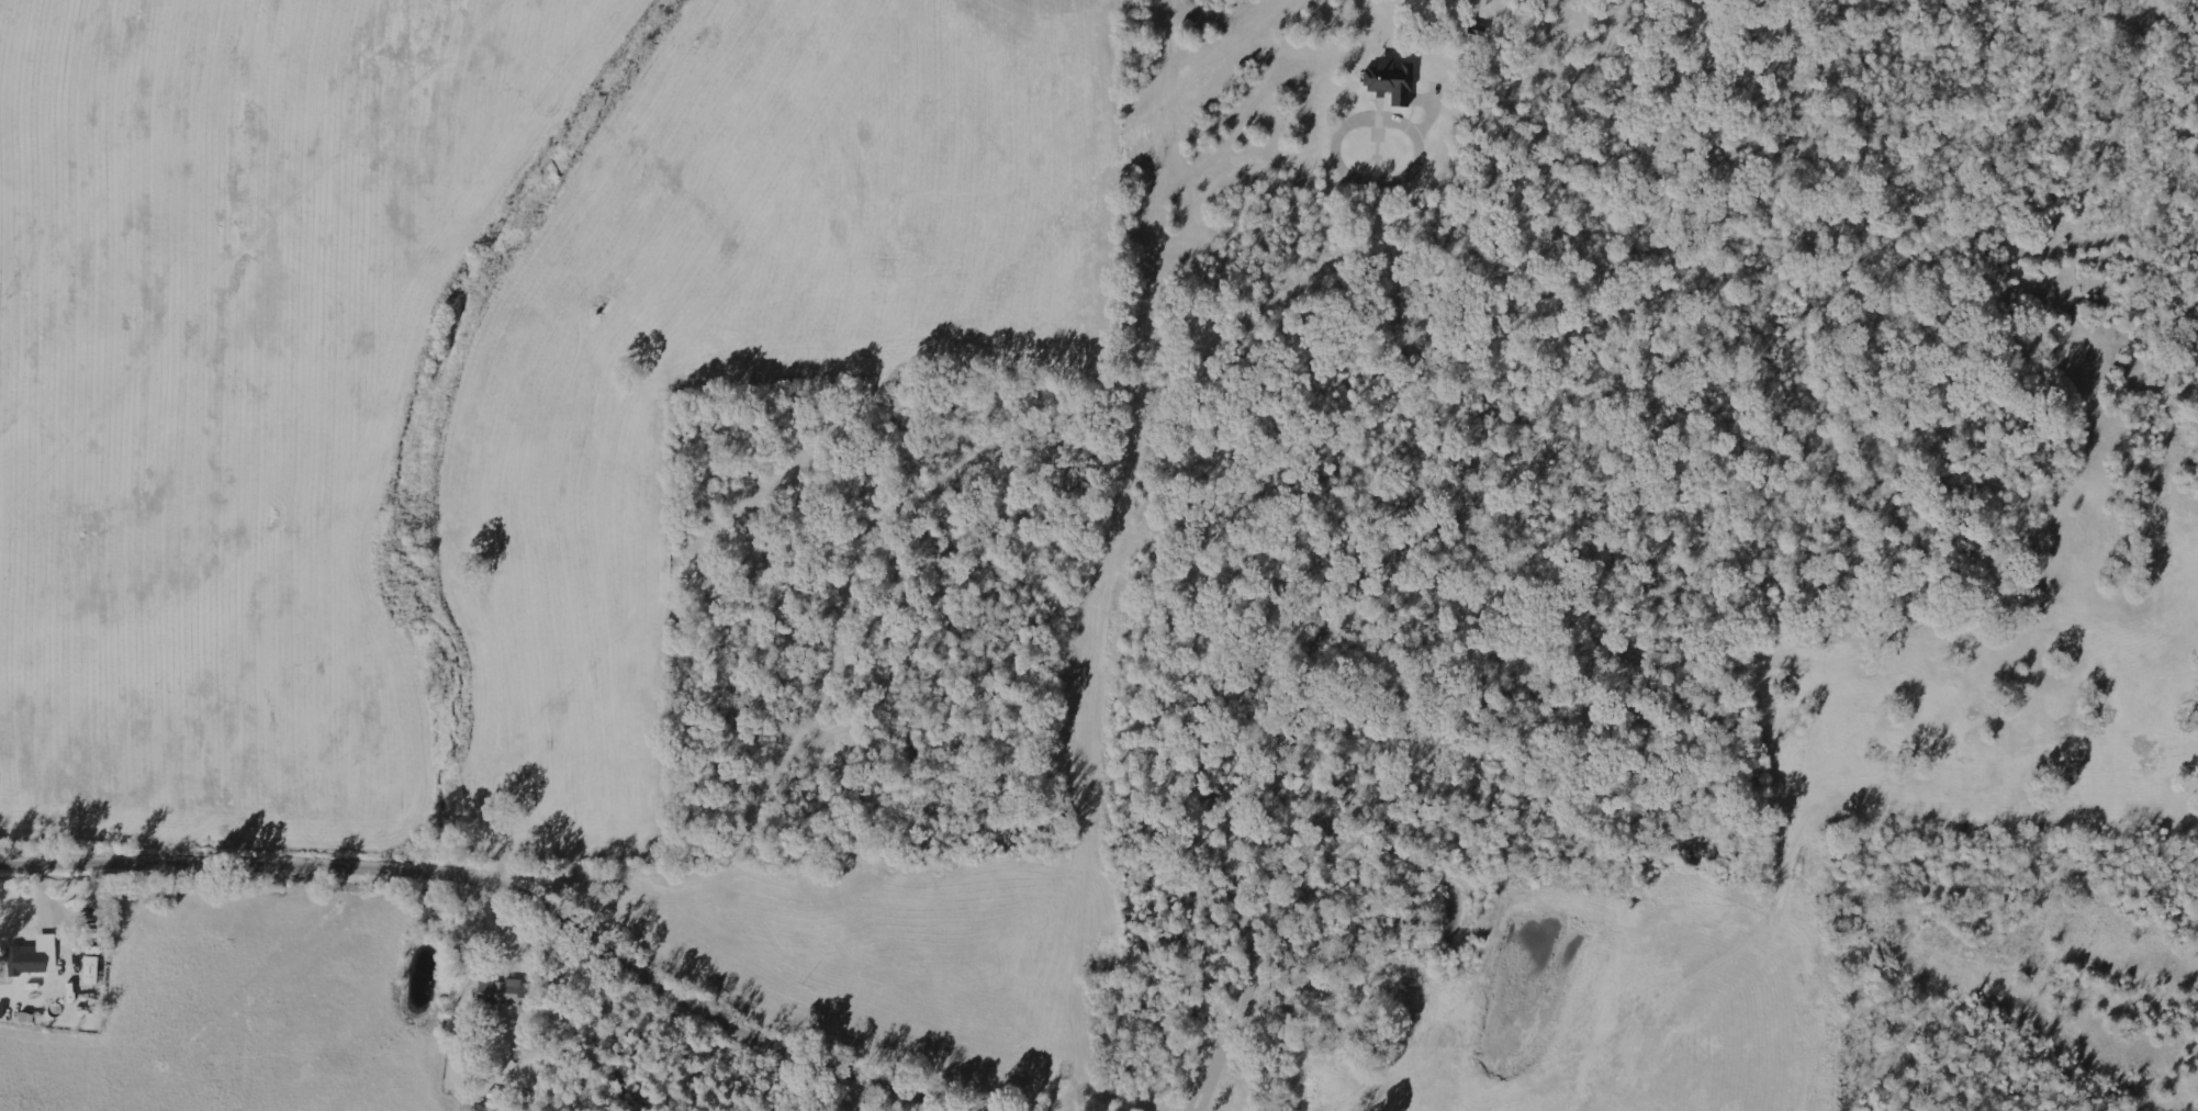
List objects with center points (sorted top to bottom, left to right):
building: (1389, 83)
road: (502, 889)
building: (36, 957)
building: (94, 970)
building: (502, 992)

